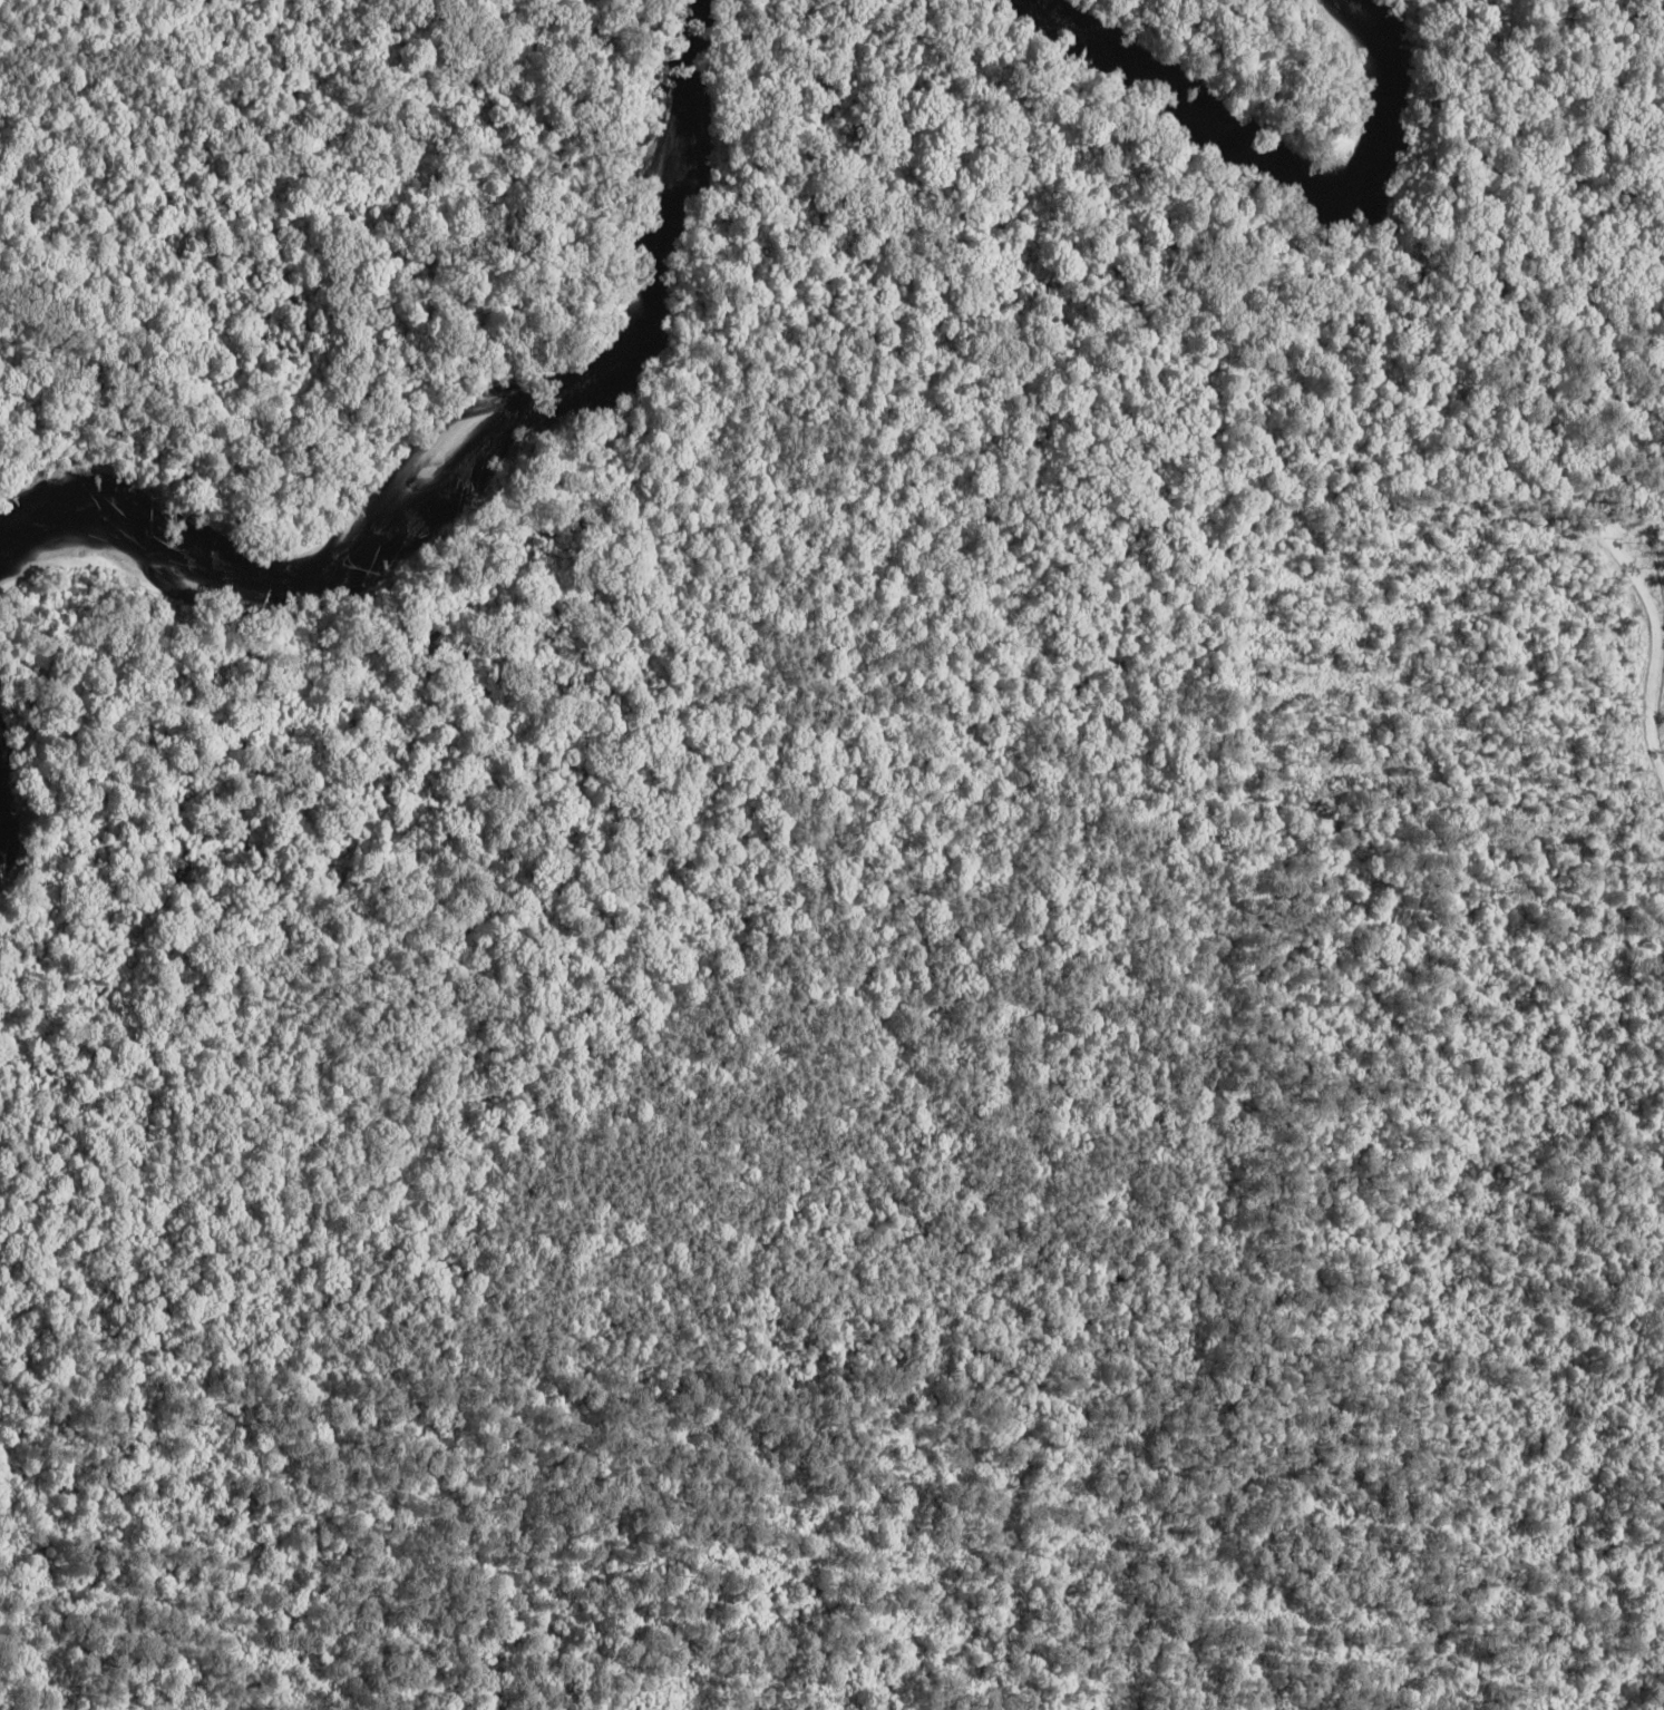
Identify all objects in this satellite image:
river: (1267, 169)
river: (474, 455)
road: (1645, 598)

